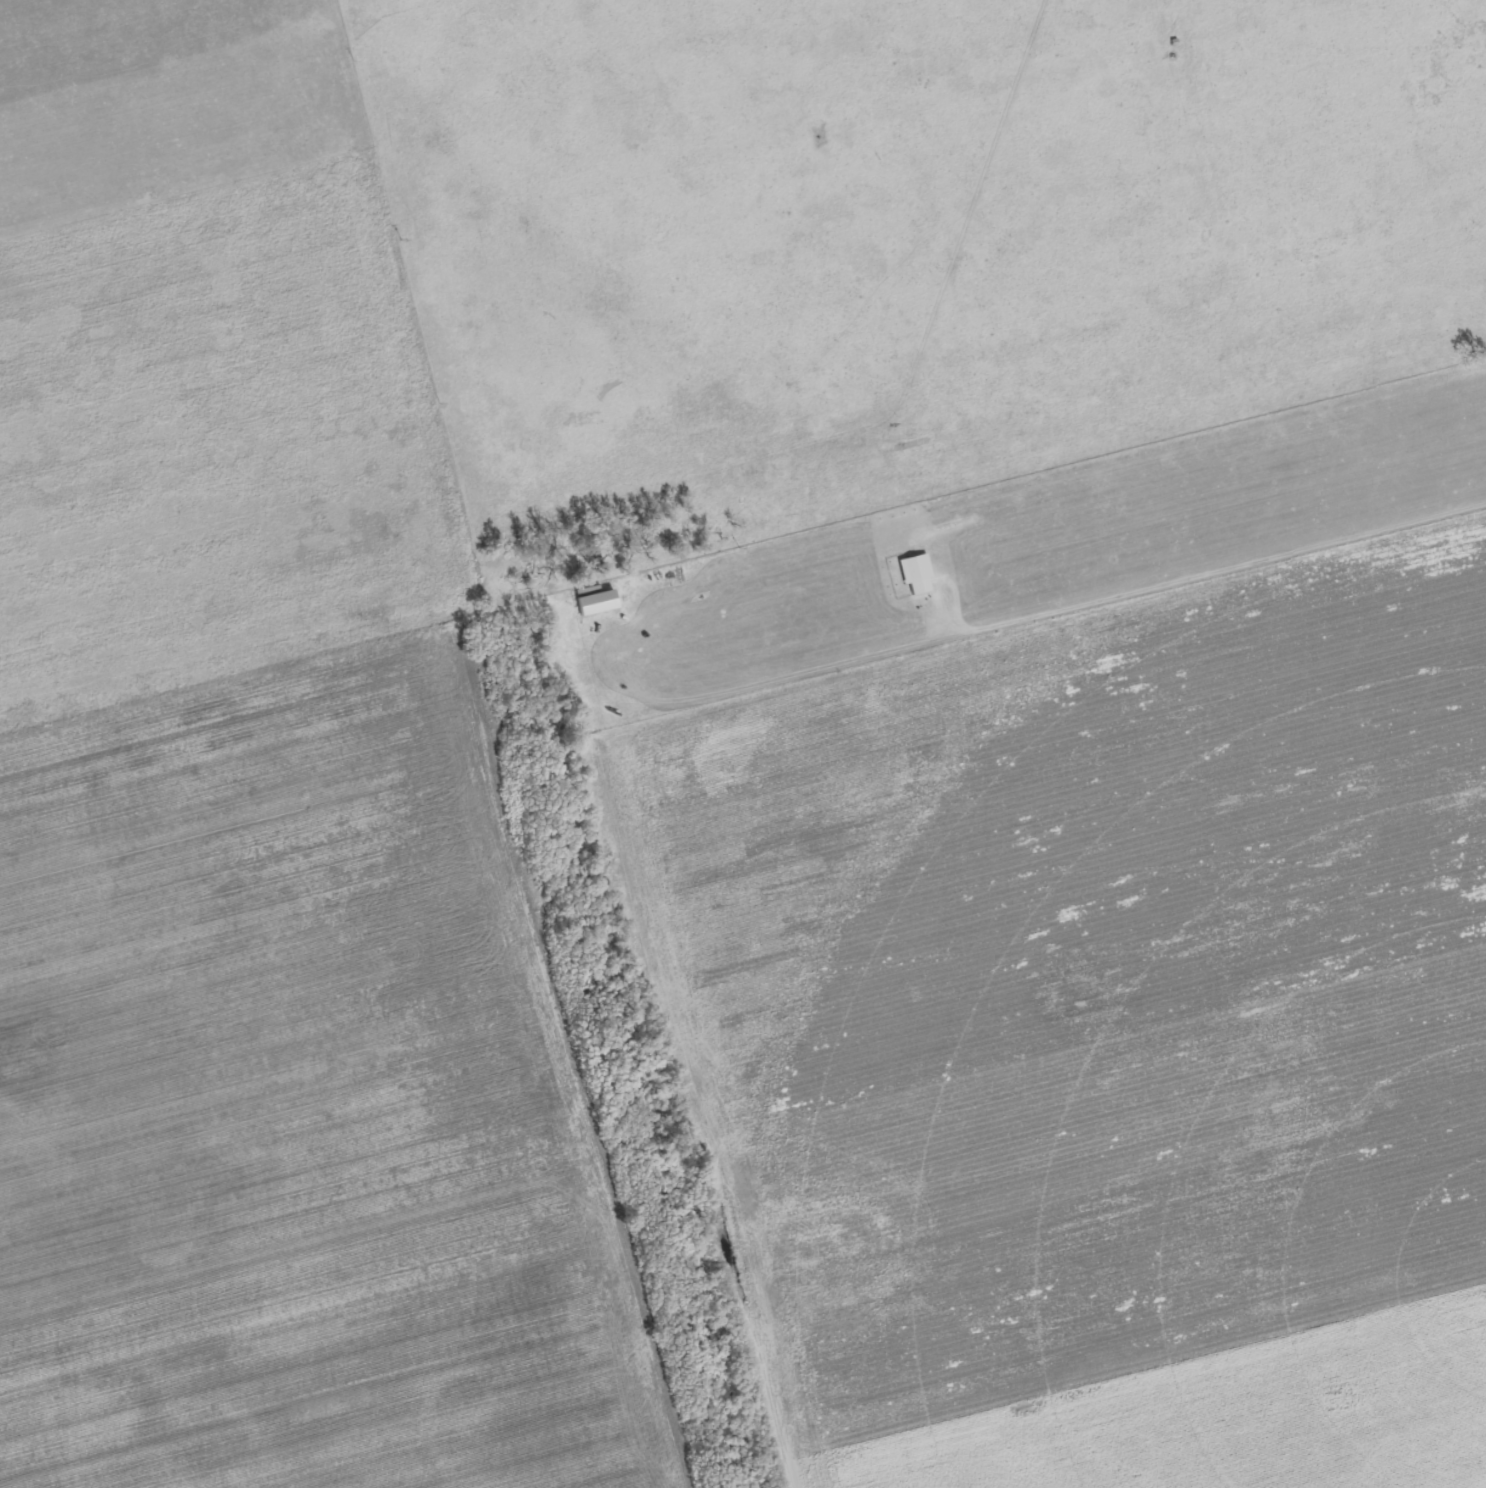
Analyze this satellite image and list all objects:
road: (1230, 287)

